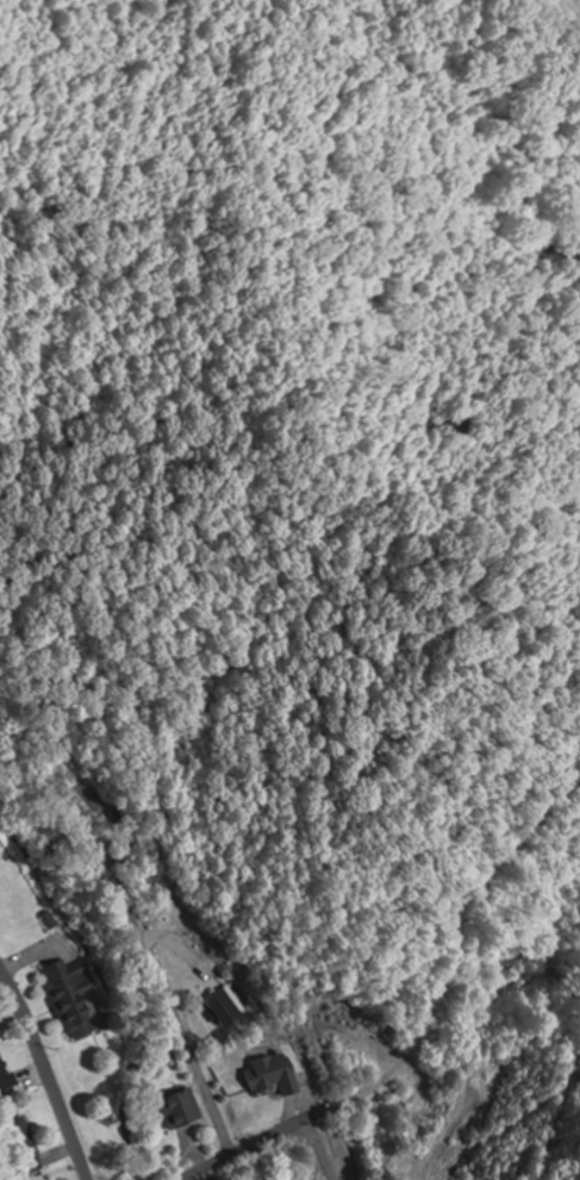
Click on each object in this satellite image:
building: (73, 997)
building: (232, 1006)
road: (188, 1044)
road: (50, 1067)
building: (5, 1073)
building: (277, 1074)
road: (282, 1092)
building: (183, 1109)
road: (275, 1134)
building: (25, 1145)
road: (319, 1149)
building: (286, 1179)

